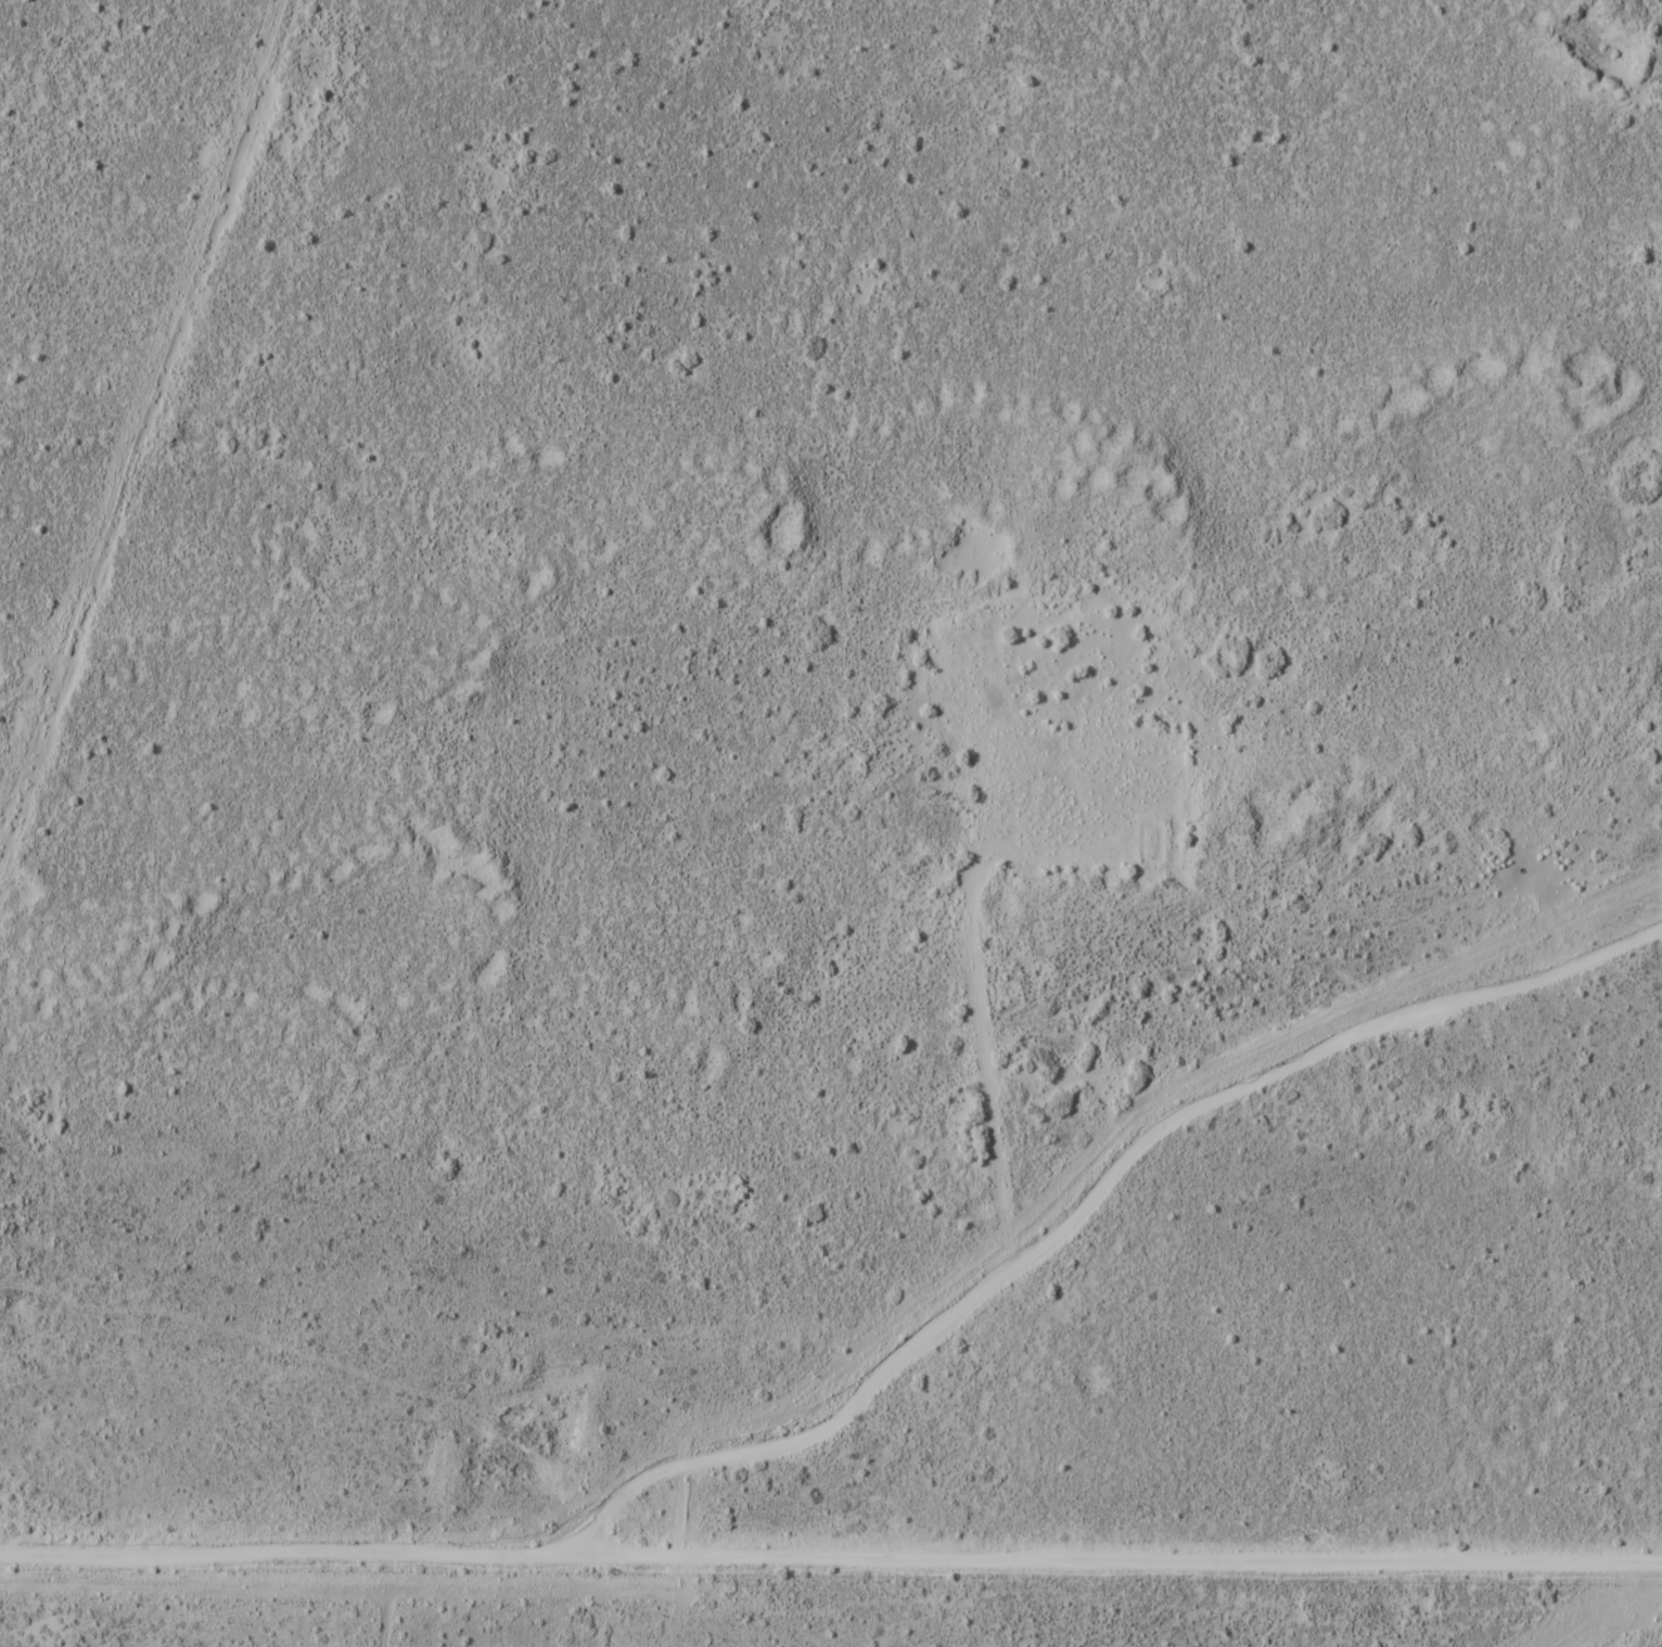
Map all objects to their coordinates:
road: (1098, 1195)
road: (830, 1549)

